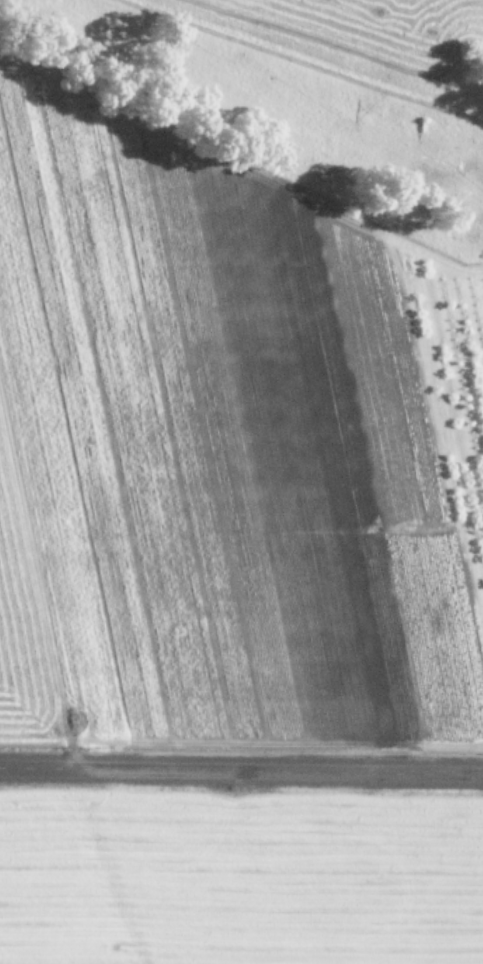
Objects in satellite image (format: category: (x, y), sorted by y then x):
crop: (242, 368)
road: (241, 764)
crop: (241, 882)

